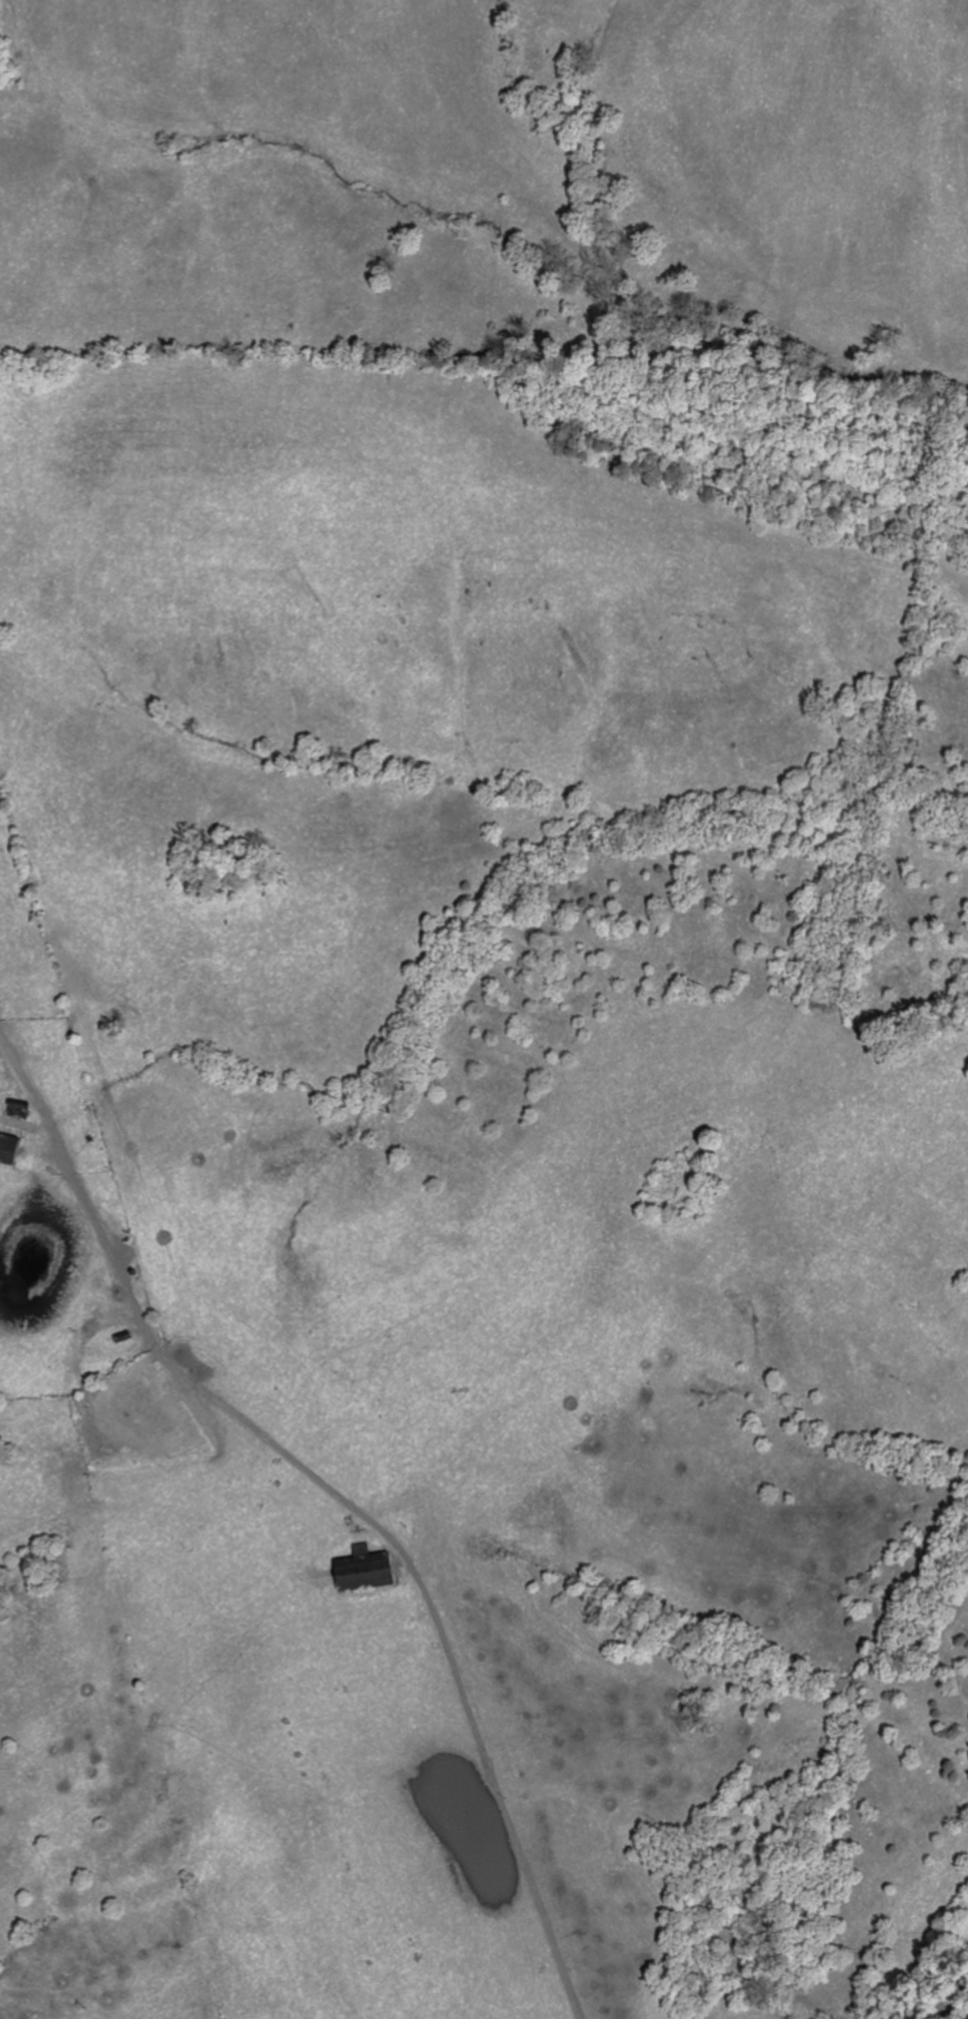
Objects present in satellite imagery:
building: (17, 1110)
building: (9, 1149)
building: (366, 1570)
road: (375, 1574)

